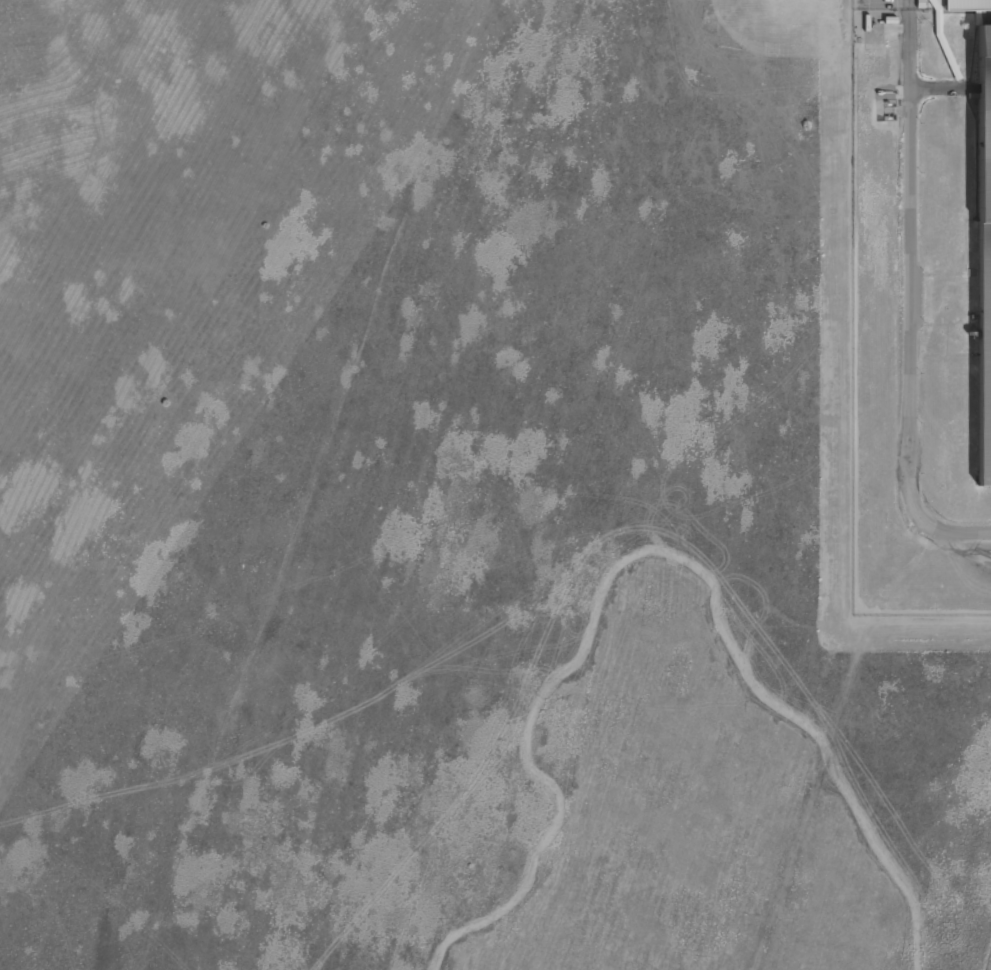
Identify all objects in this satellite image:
building: (967, 4)
building: (984, 254)
road: (908, 298)

